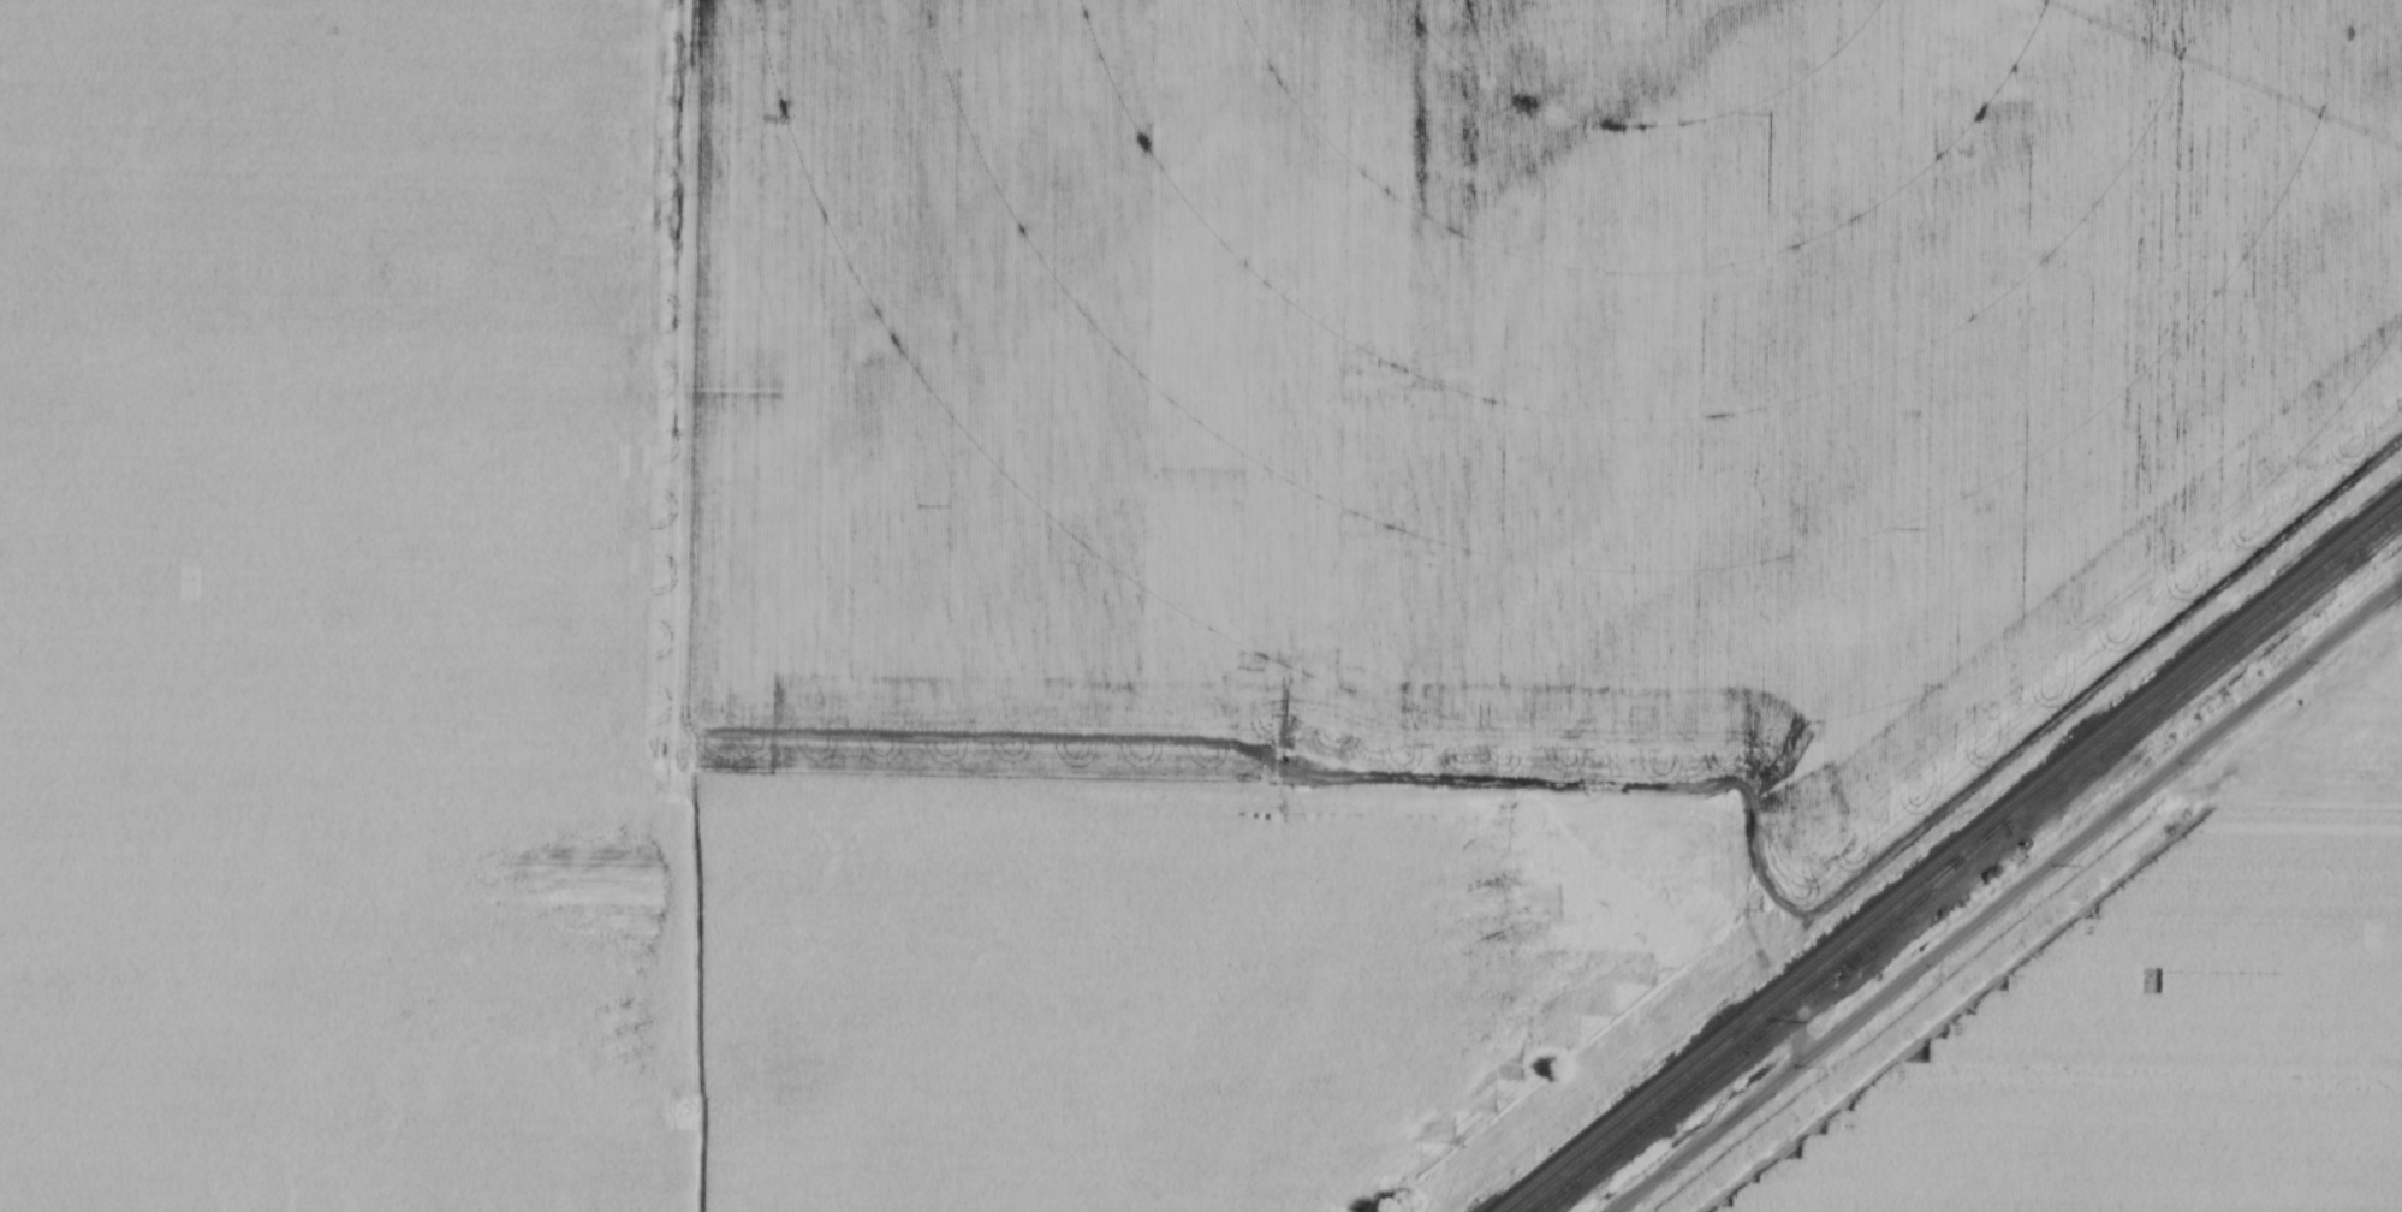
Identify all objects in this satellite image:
railway: (1948, 851)
railway: (1956, 857)
road: (2010, 901)
railway: (1776, 1020)

